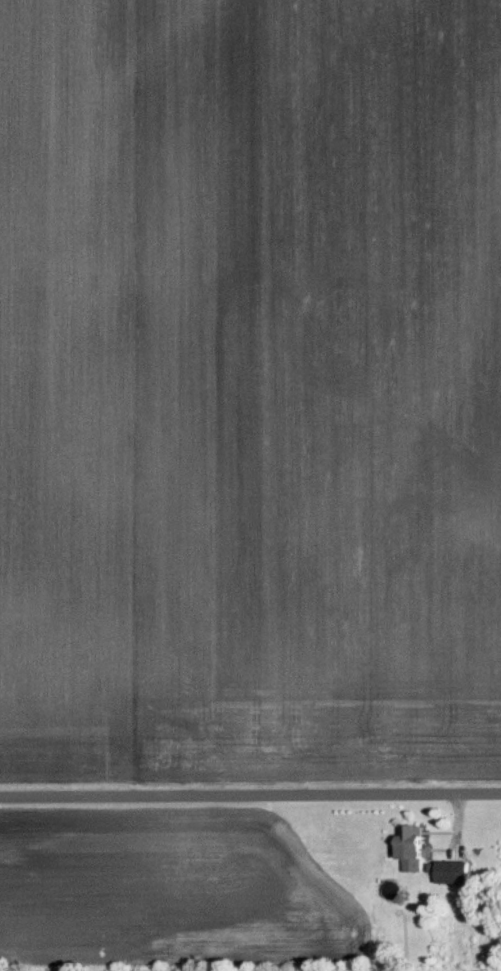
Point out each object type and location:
road: (250, 795)
building: (417, 848)
building: (458, 872)

